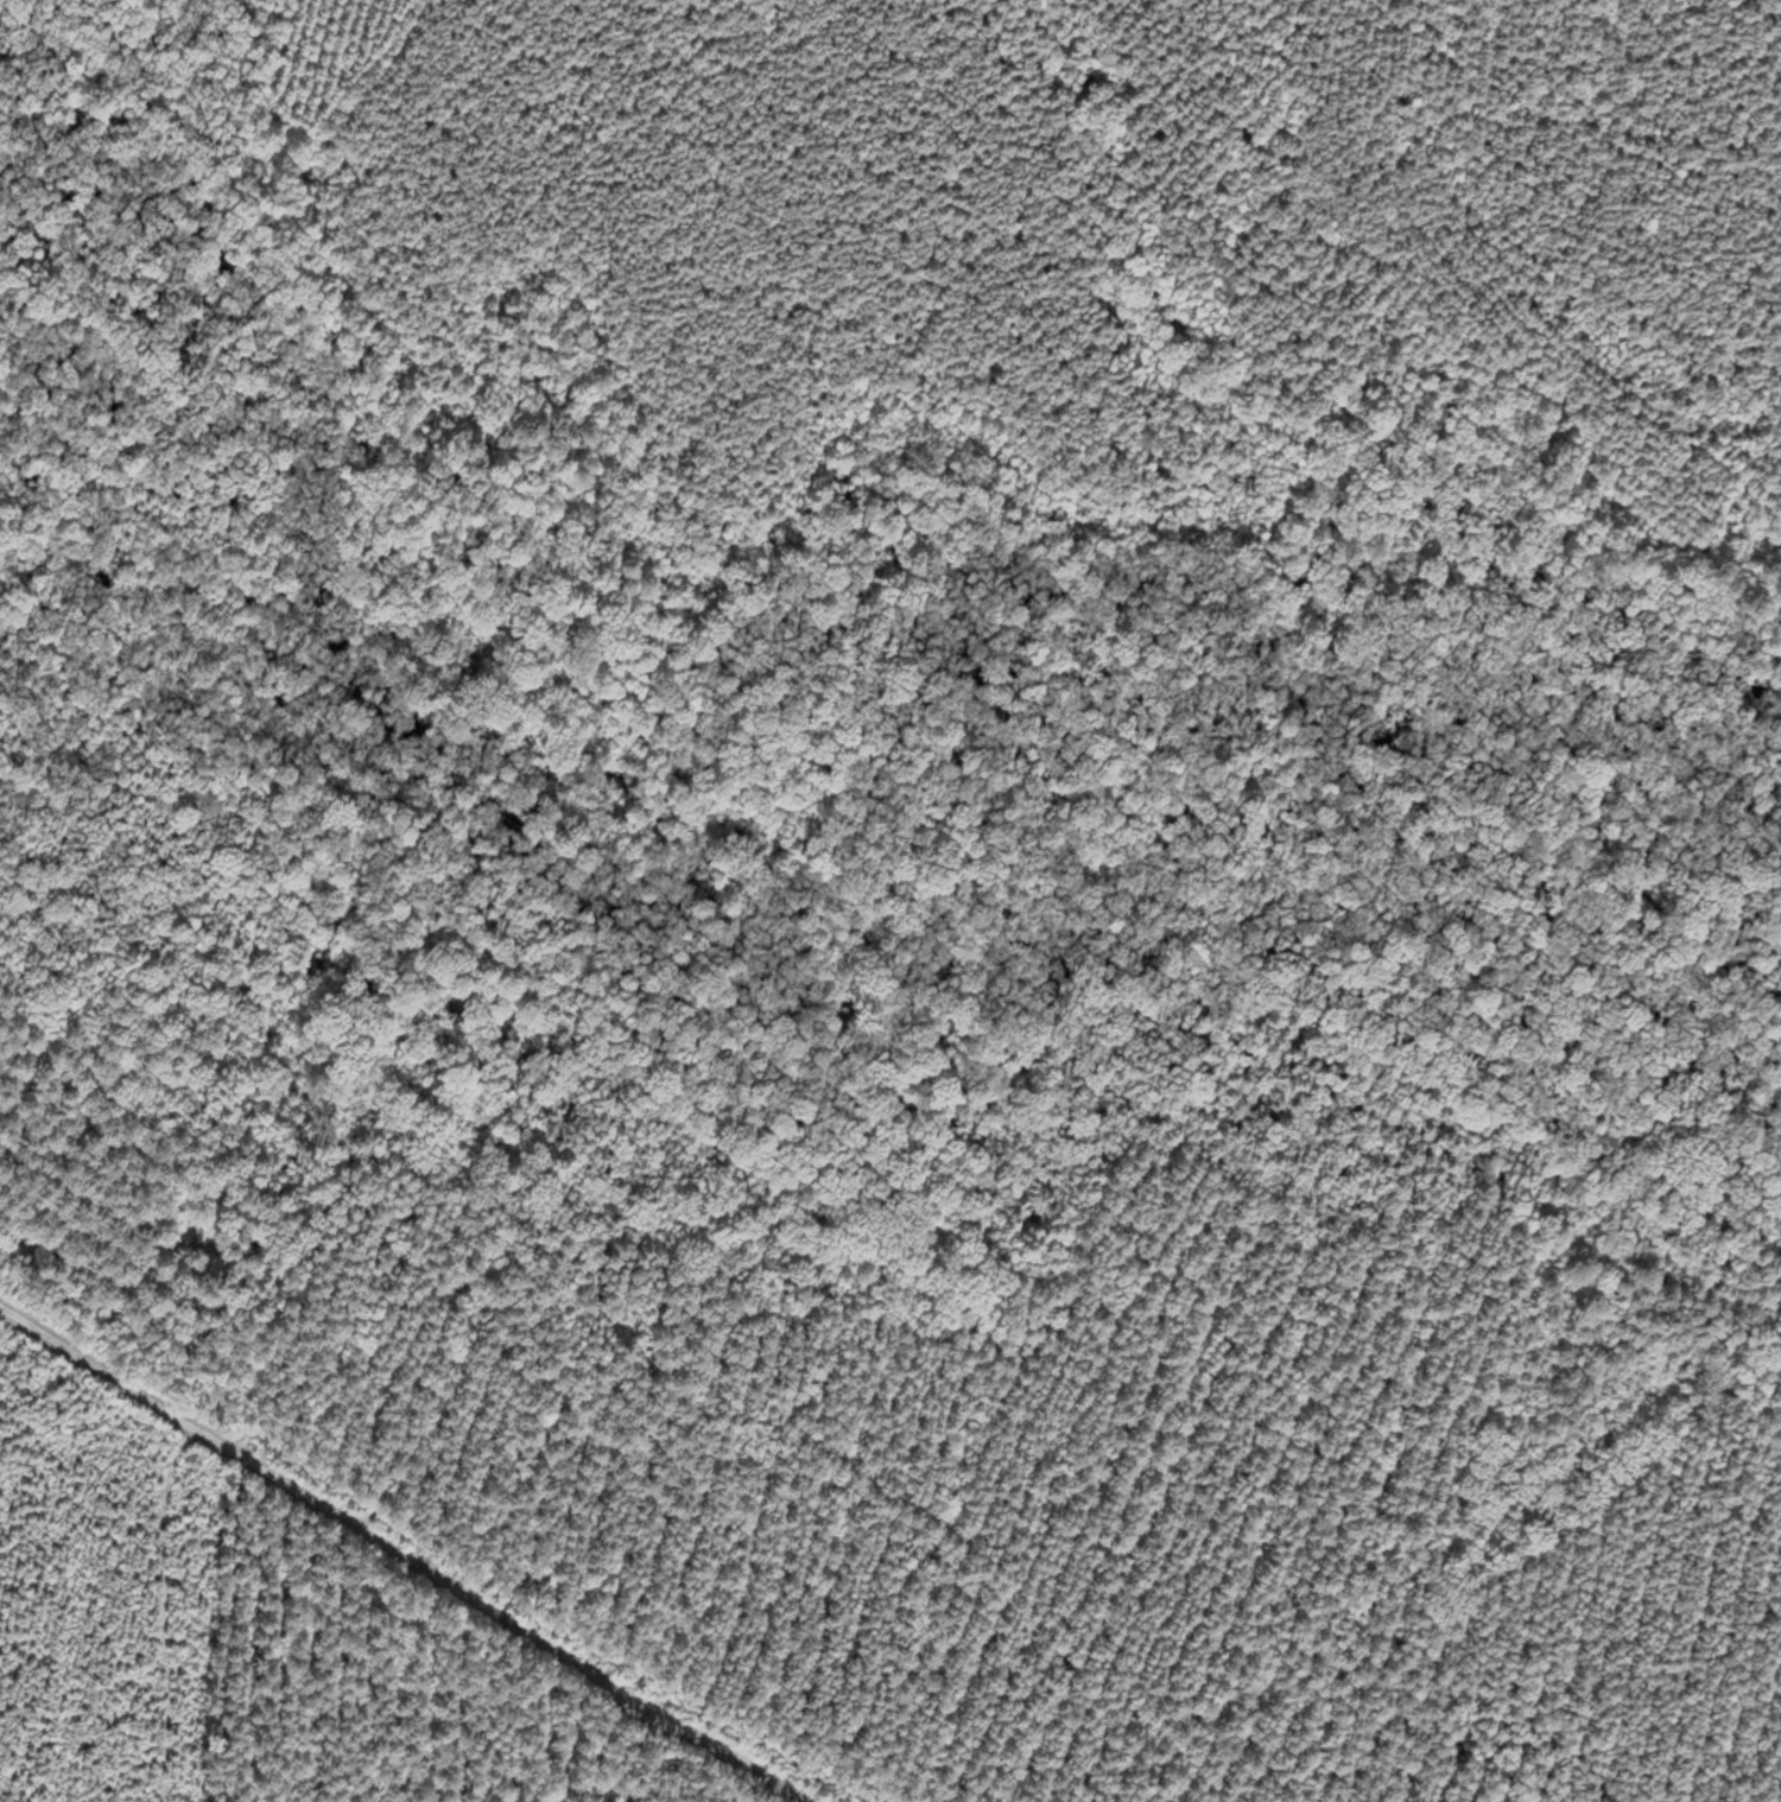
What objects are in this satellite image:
road: (399, 1554)

